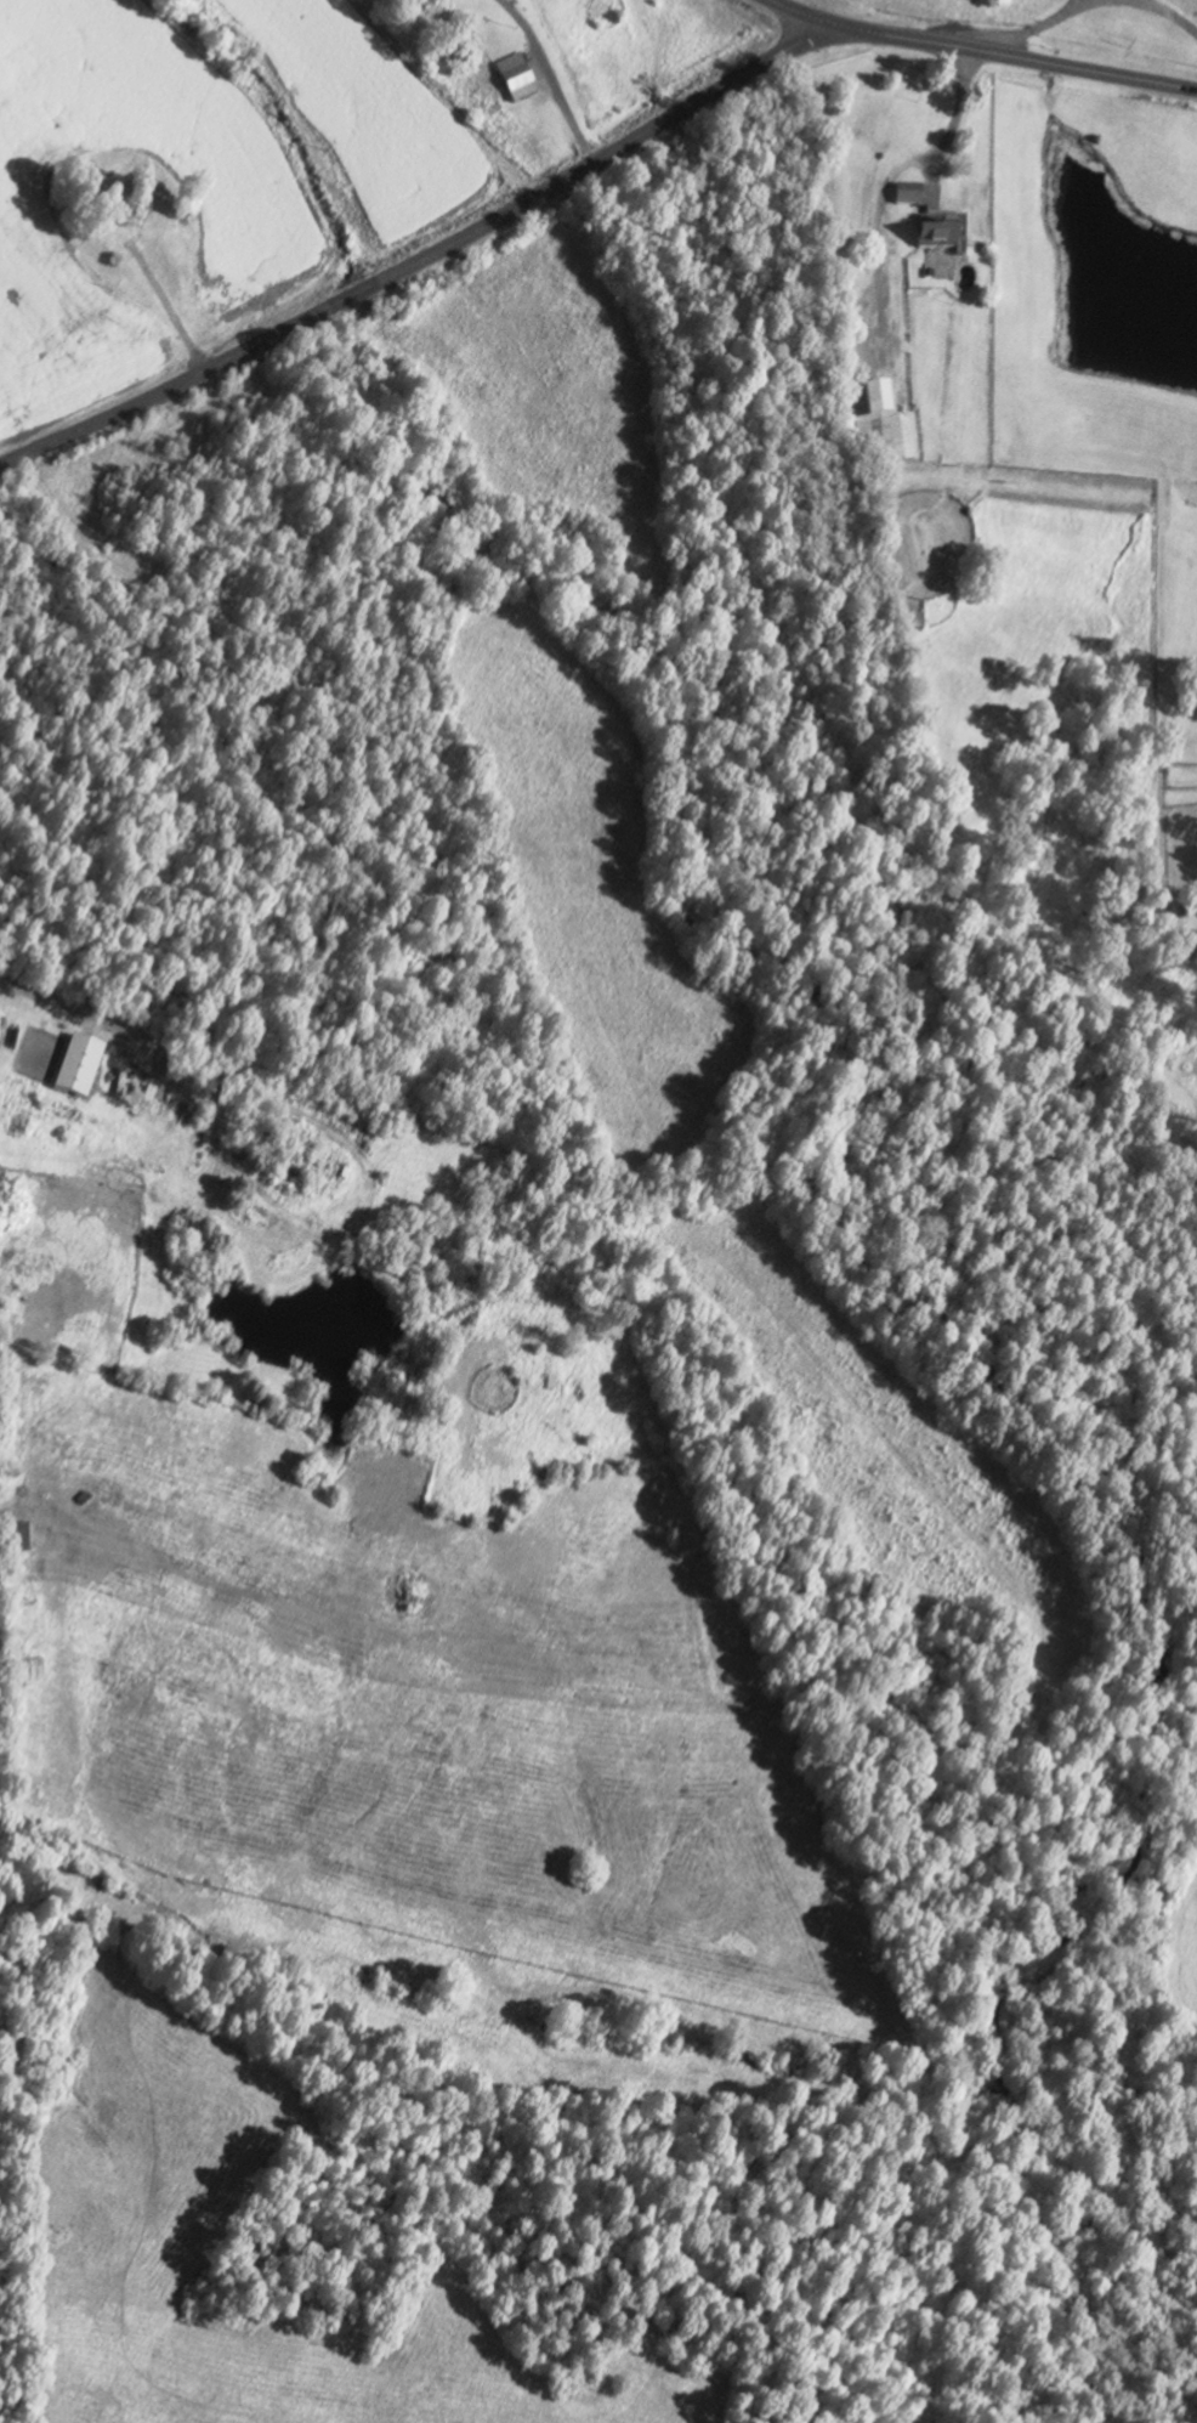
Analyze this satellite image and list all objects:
road: (986, 51)
building: (514, 77)
building: (906, 194)
building: (937, 232)
road: (425, 257)
building: (881, 430)
building: (13, 1540)

